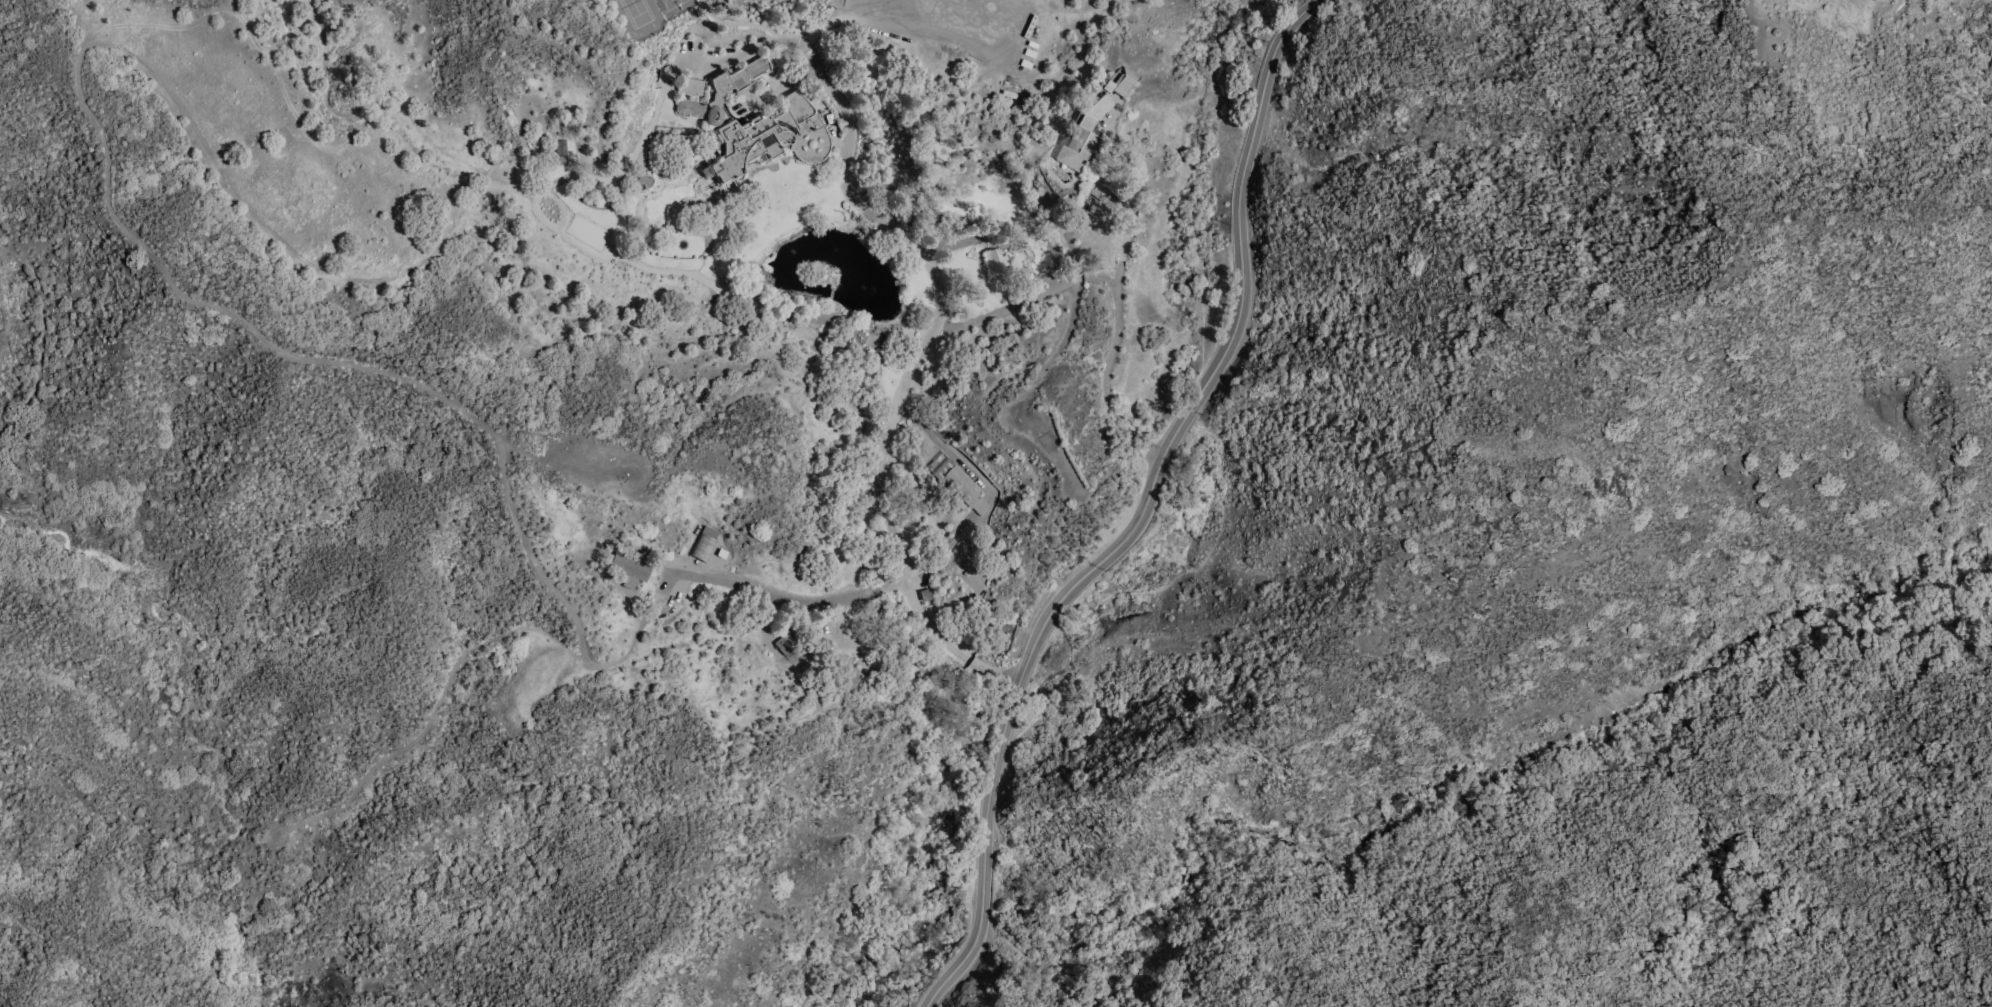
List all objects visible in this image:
building: (1120, 84)
building: (692, 88)
building: (756, 128)
building: (1082, 137)
building: (561, 152)
building: (646, 182)
building: (1101, 192)
road: (1127, 217)
building: (996, 263)
road: (1075, 279)
road: (937, 311)
road: (1000, 312)
road: (1105, 372)
road: (1223, 447)
road: (948, 450)
building: (960, 487)
road: (980, 507)
road: (1143, 510)
building: (705, 546)
road: (944, 554)
building: (631, 571)
road: (788, 602)
building: (786, 645)
road: (933, 807)
road: (863, 935)
road: (42, 956)

